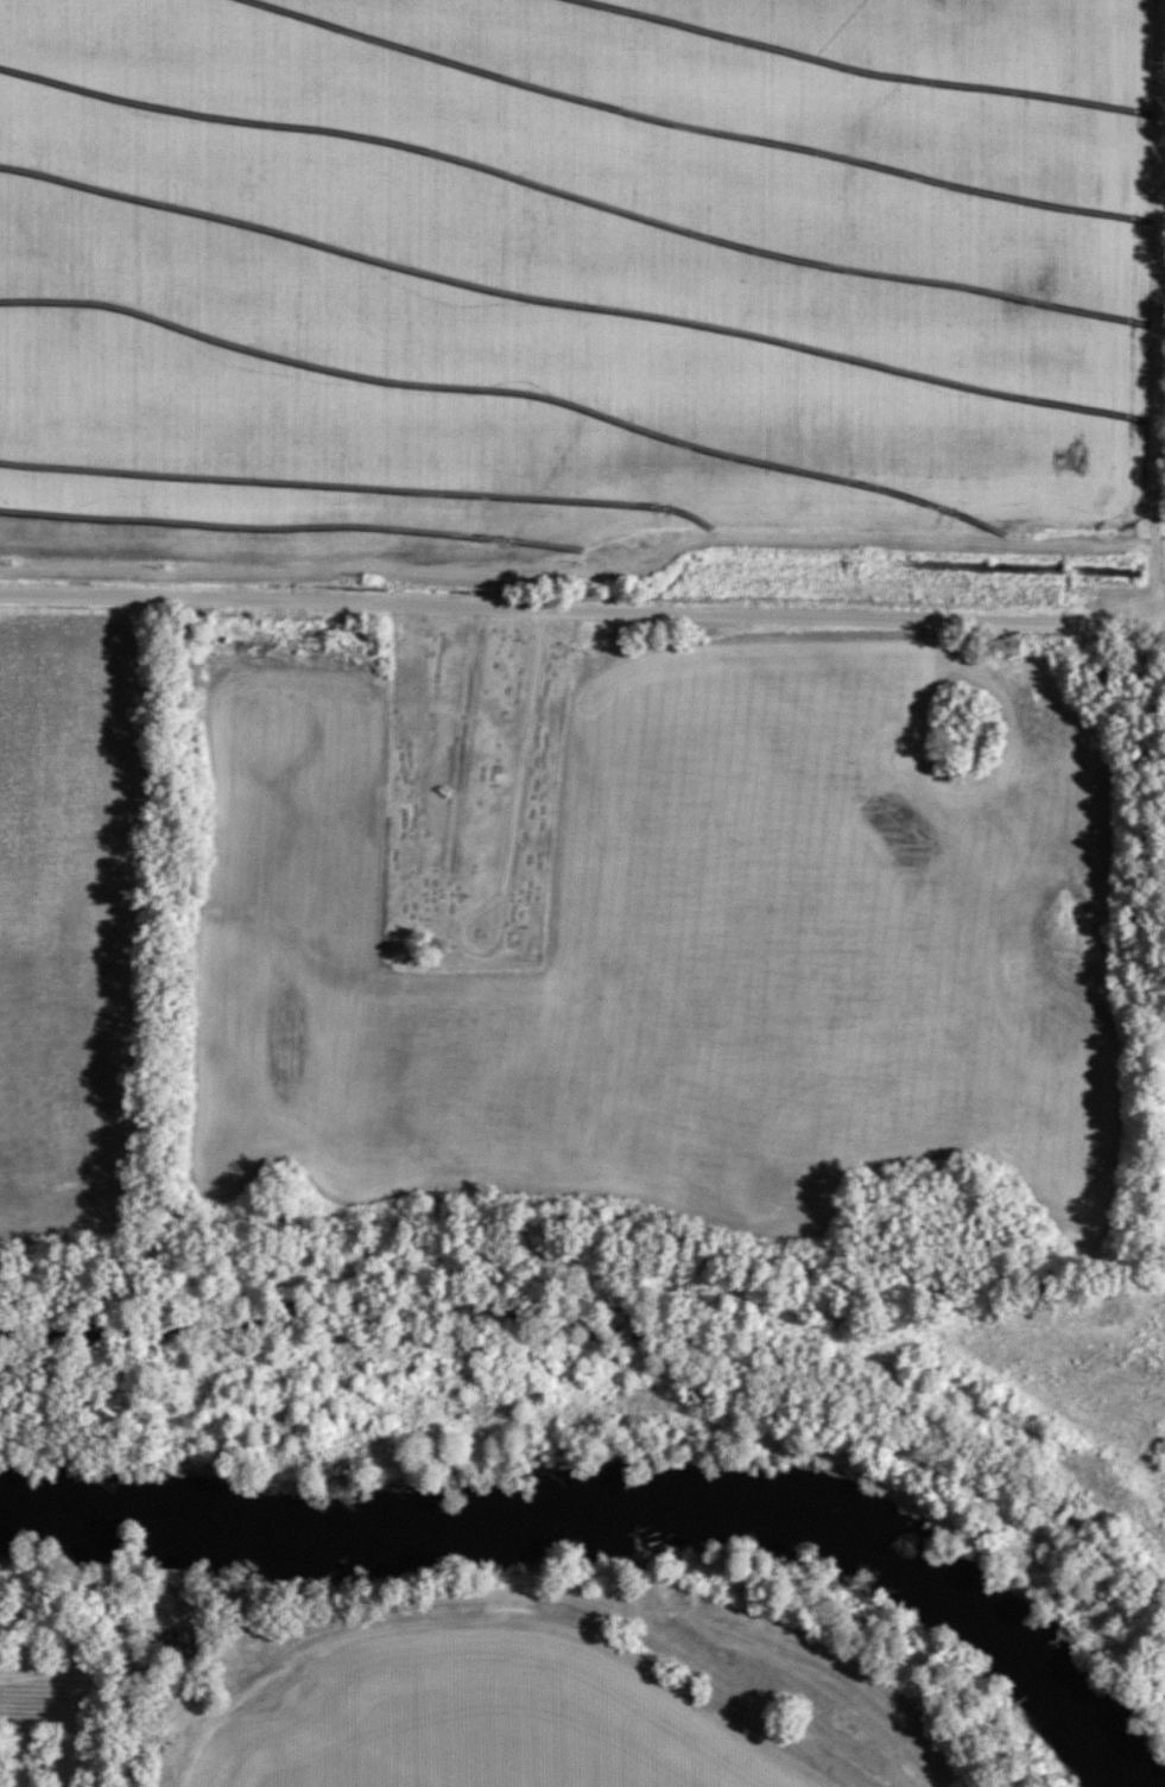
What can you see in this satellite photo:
road: (1152, 584)
road: (582, 613)
road: (521, 754)
park: (468, 796)
road: (476, 914)
river: (618, 1508)
road: (305, 1620)
building: (179, 1649)

